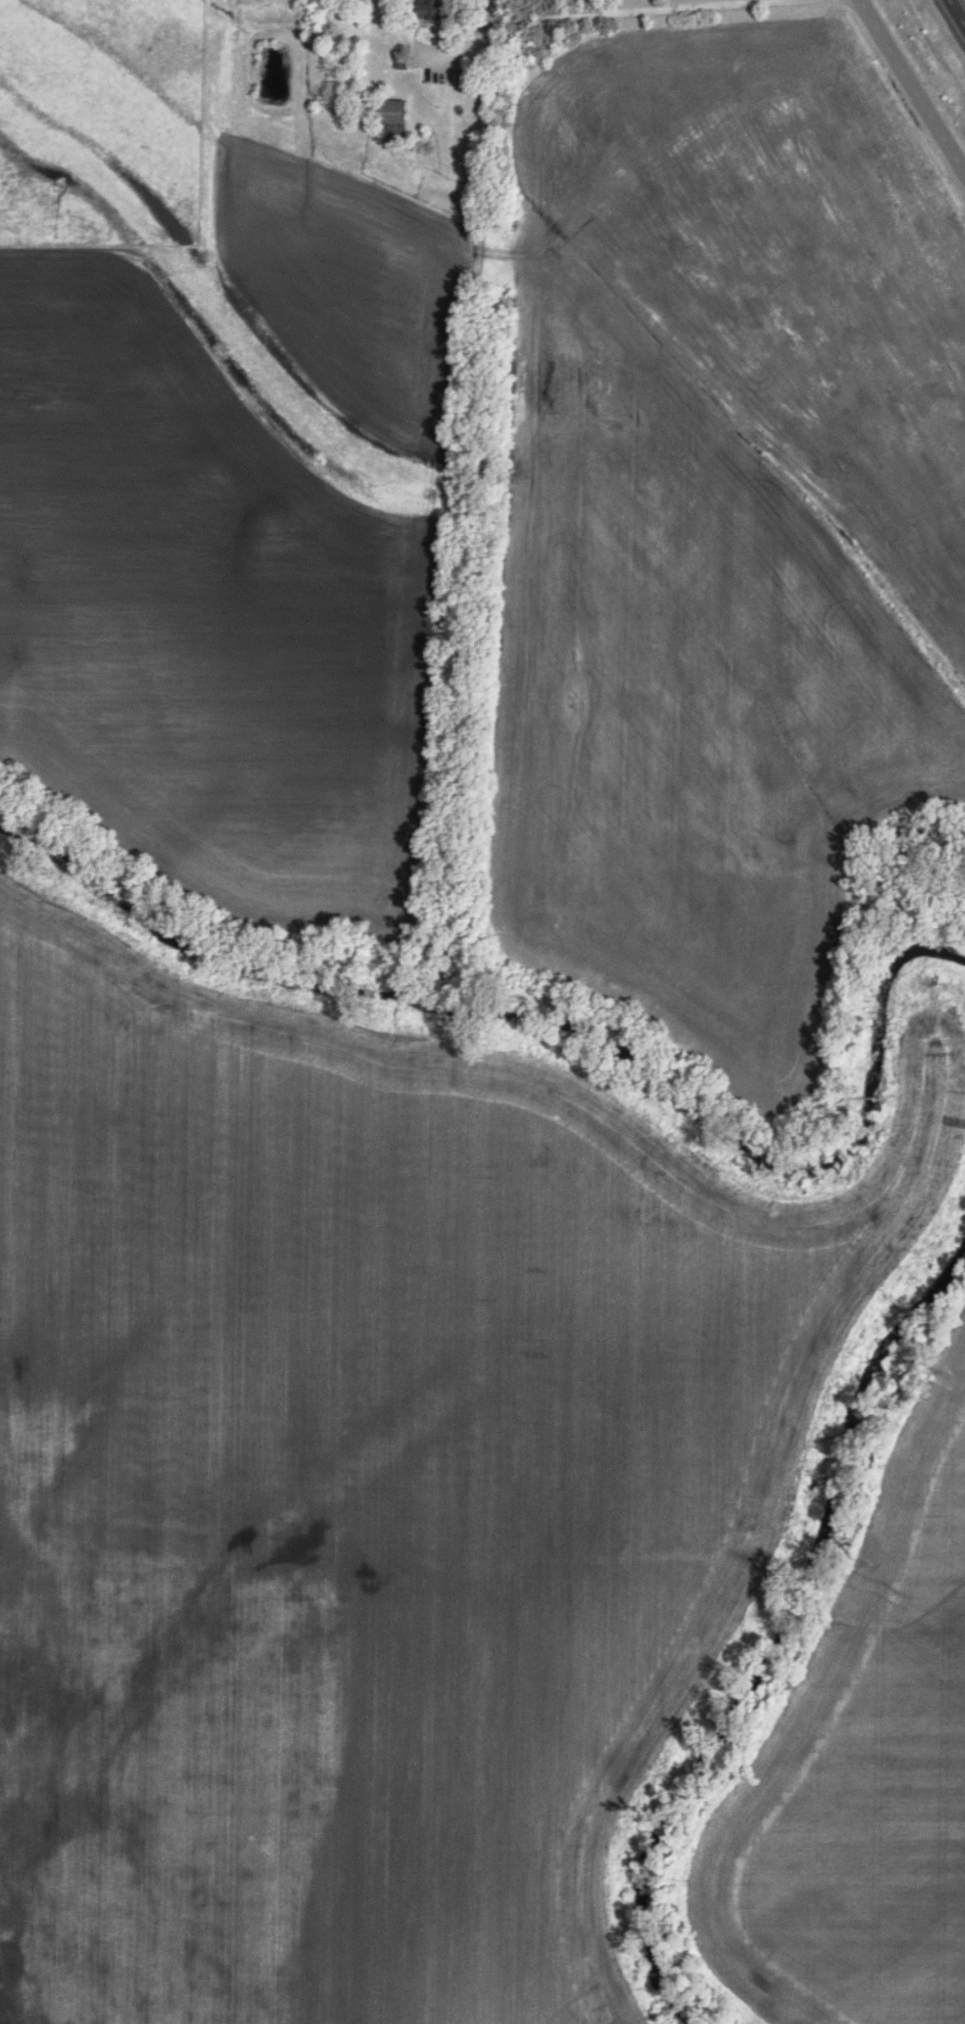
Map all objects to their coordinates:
road: (566, 5)
building: (433, 9)
road: (955, 14)
road: (912, 86)
building: (405, 113)

